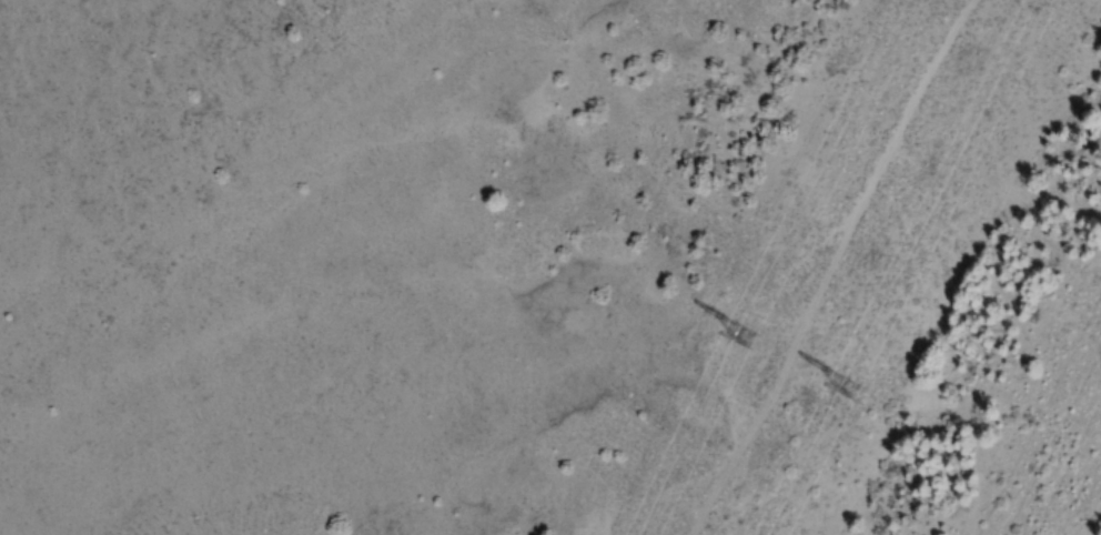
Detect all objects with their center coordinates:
road: (835, 269)
power tower: (751, 345)
power tower: (850, 388)

